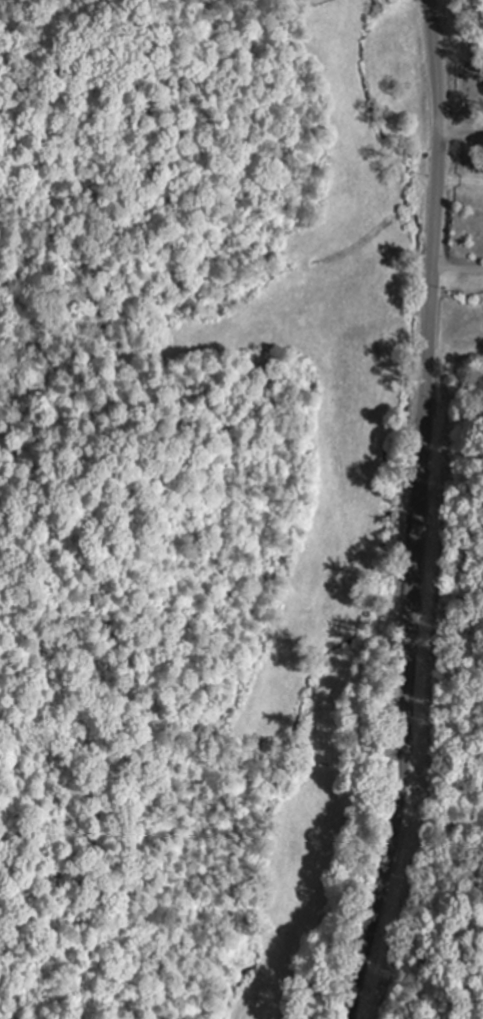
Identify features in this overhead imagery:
road: (417, 512)

